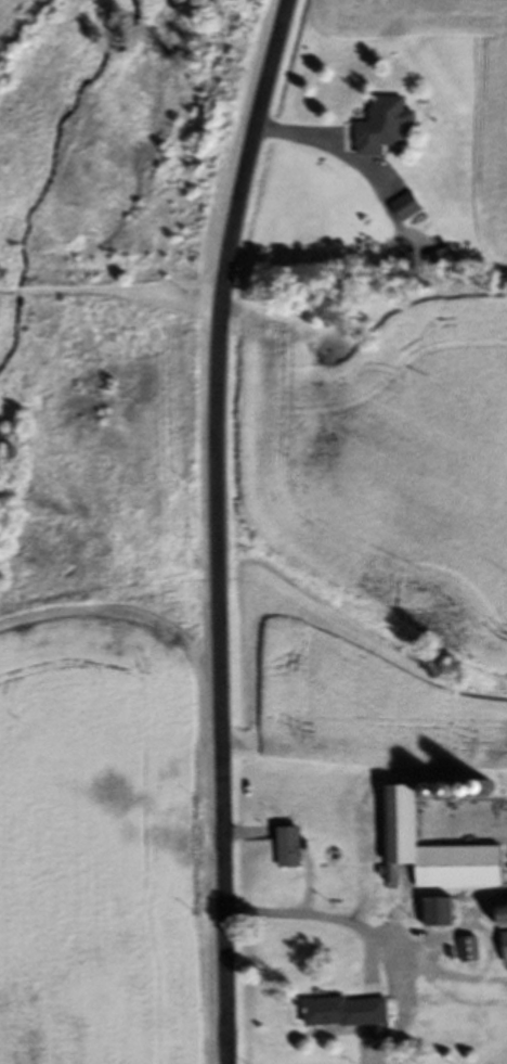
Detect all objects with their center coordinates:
building: (387, 130)
road: (325, 149)
building: (409, 210)
road: (219, 527)
building: (295, 850)
building: (440, 854)
building: (444, 915)
building: (504, 919)
road: (368, 932)
building: (472, 953)
building: (356, 1017)
building: (459, 1023)

